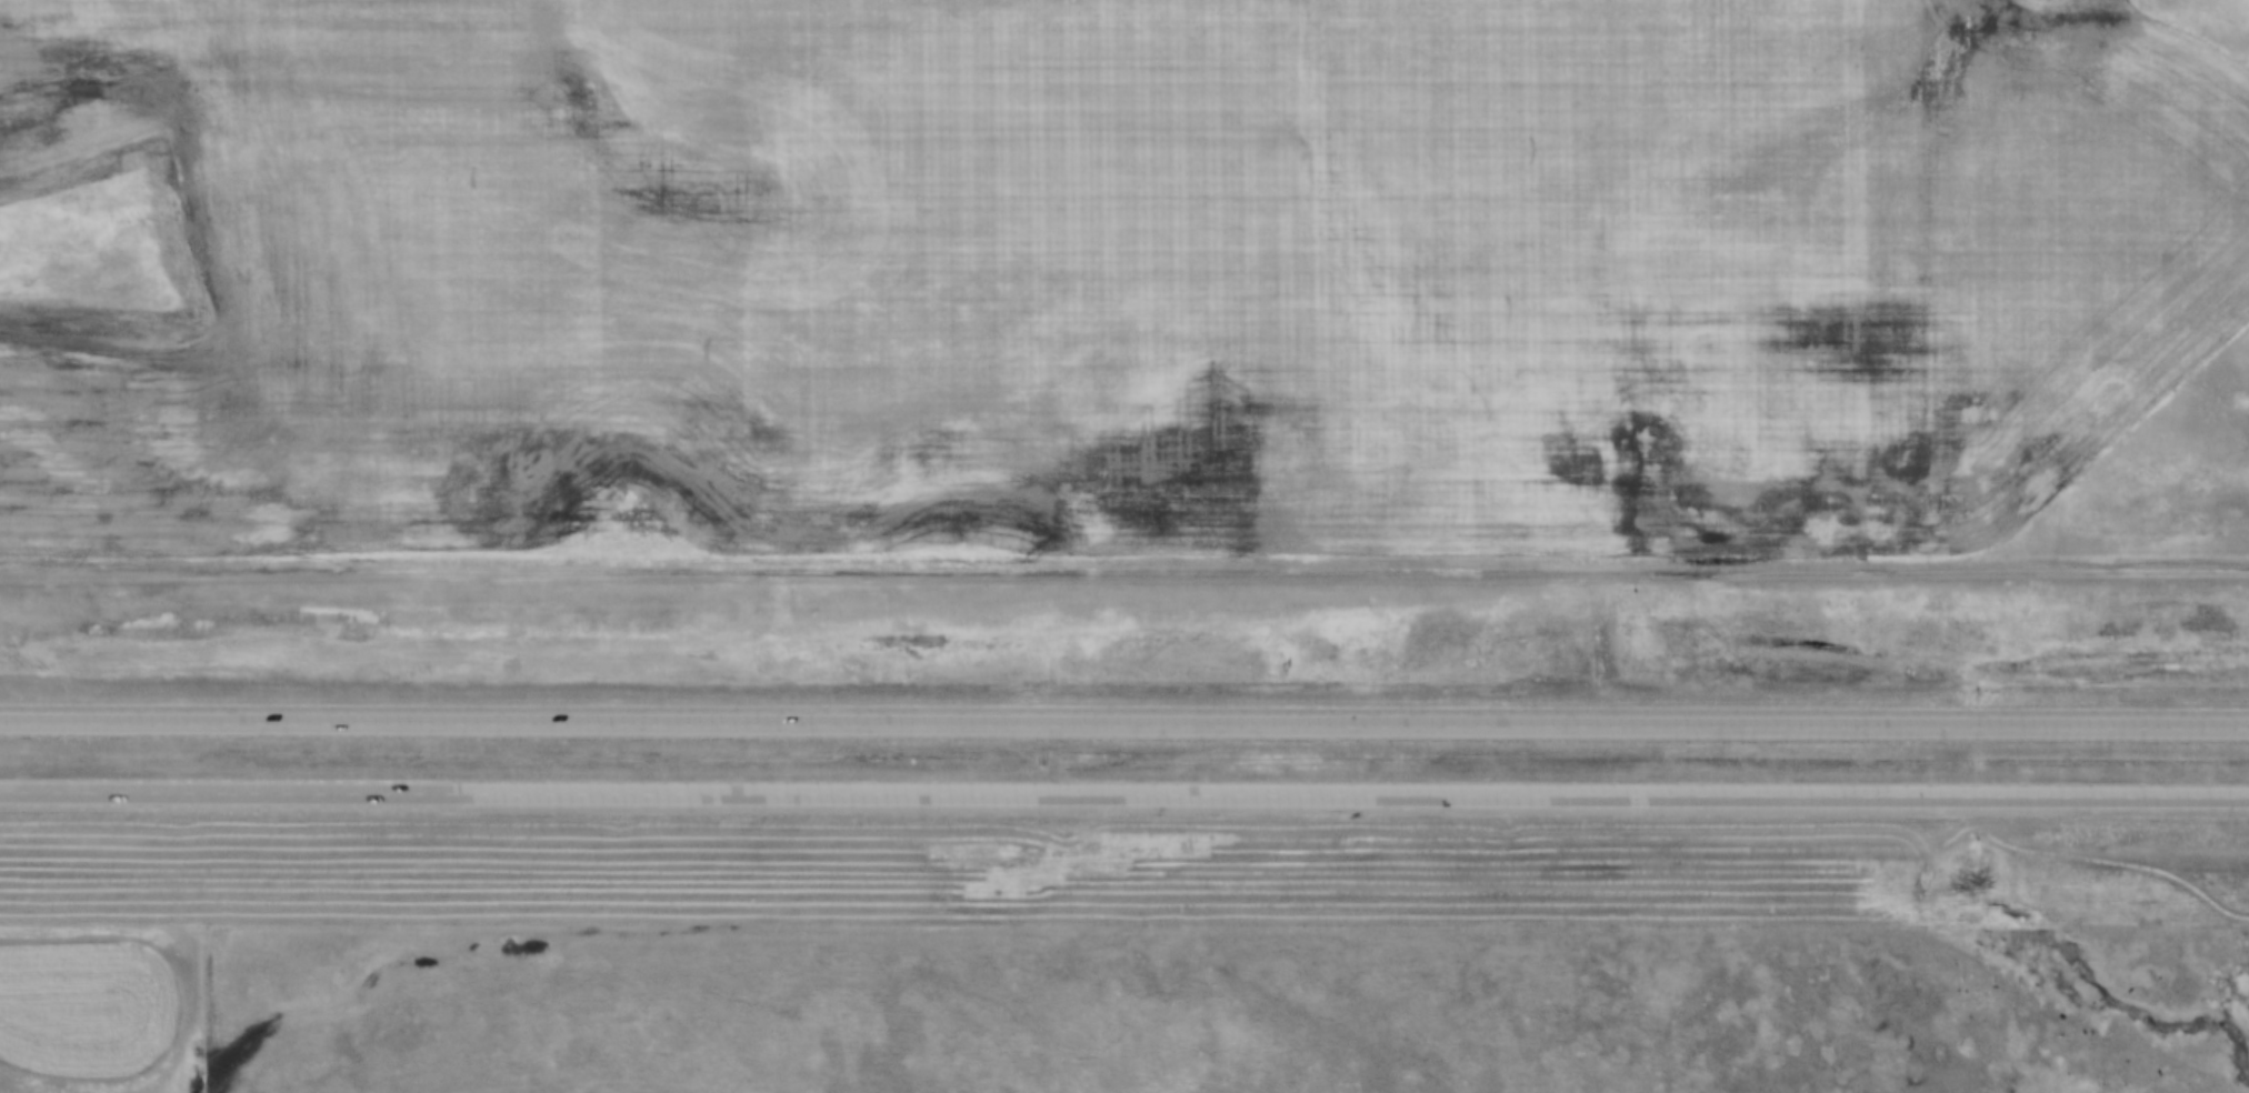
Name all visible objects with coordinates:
road: (1124, 569)
road: (1123, 724)
road: (1123, 795)

